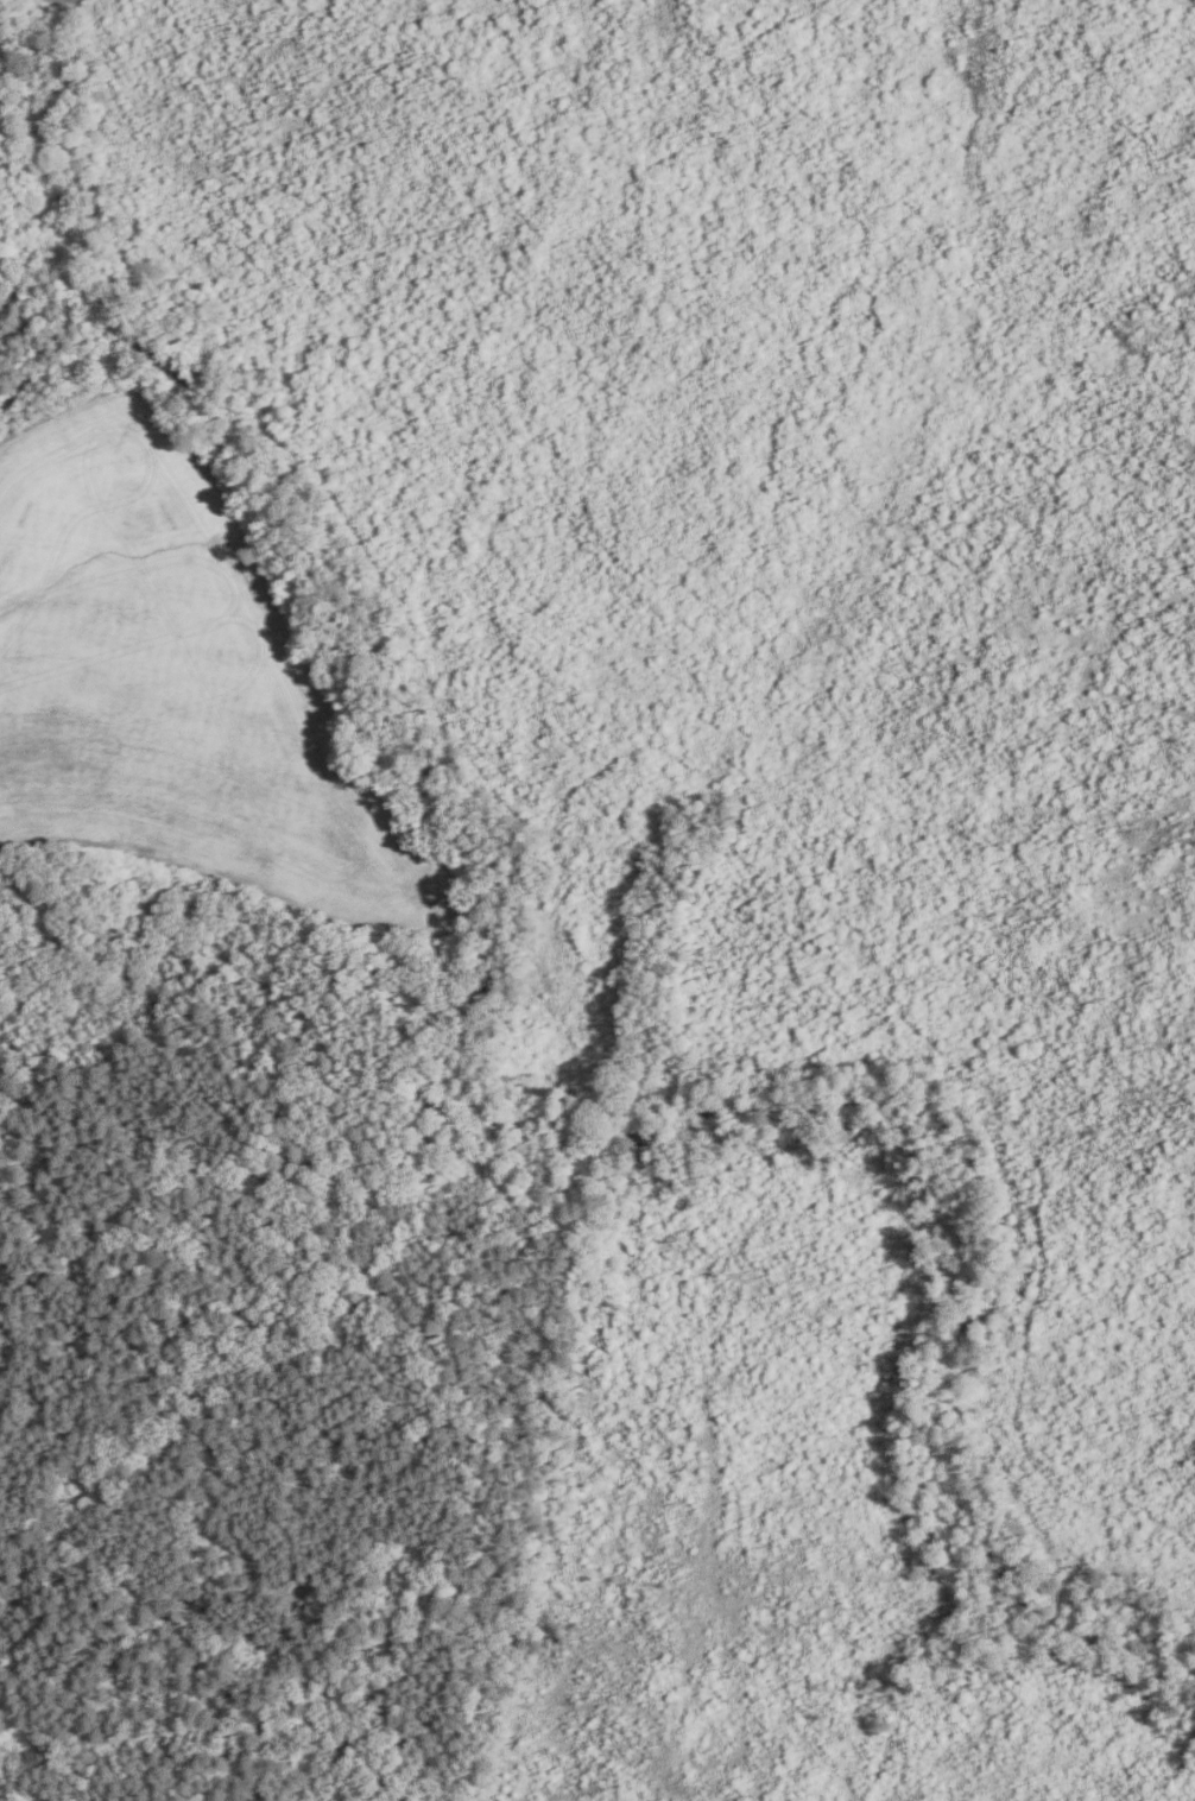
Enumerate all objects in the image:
crop: (59, 0)

